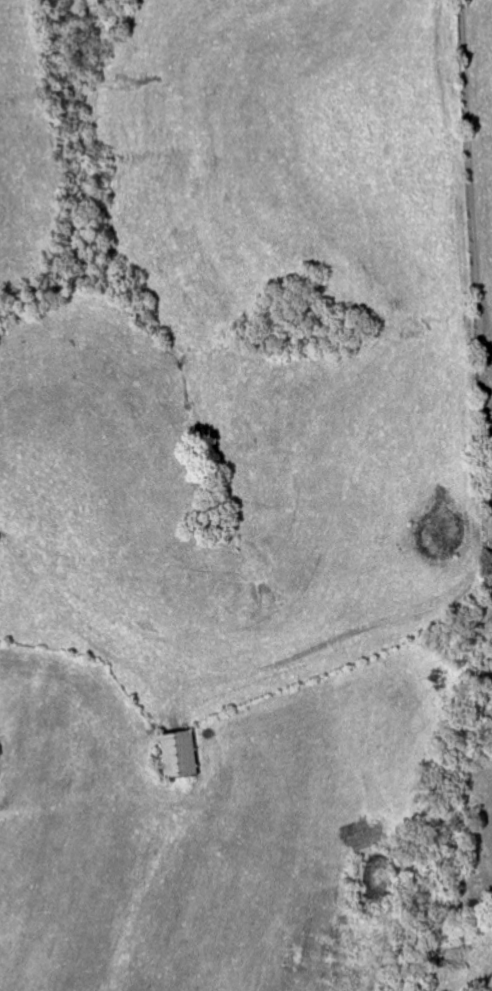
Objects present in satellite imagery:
road: (472, 203)
building: (182, 755)

